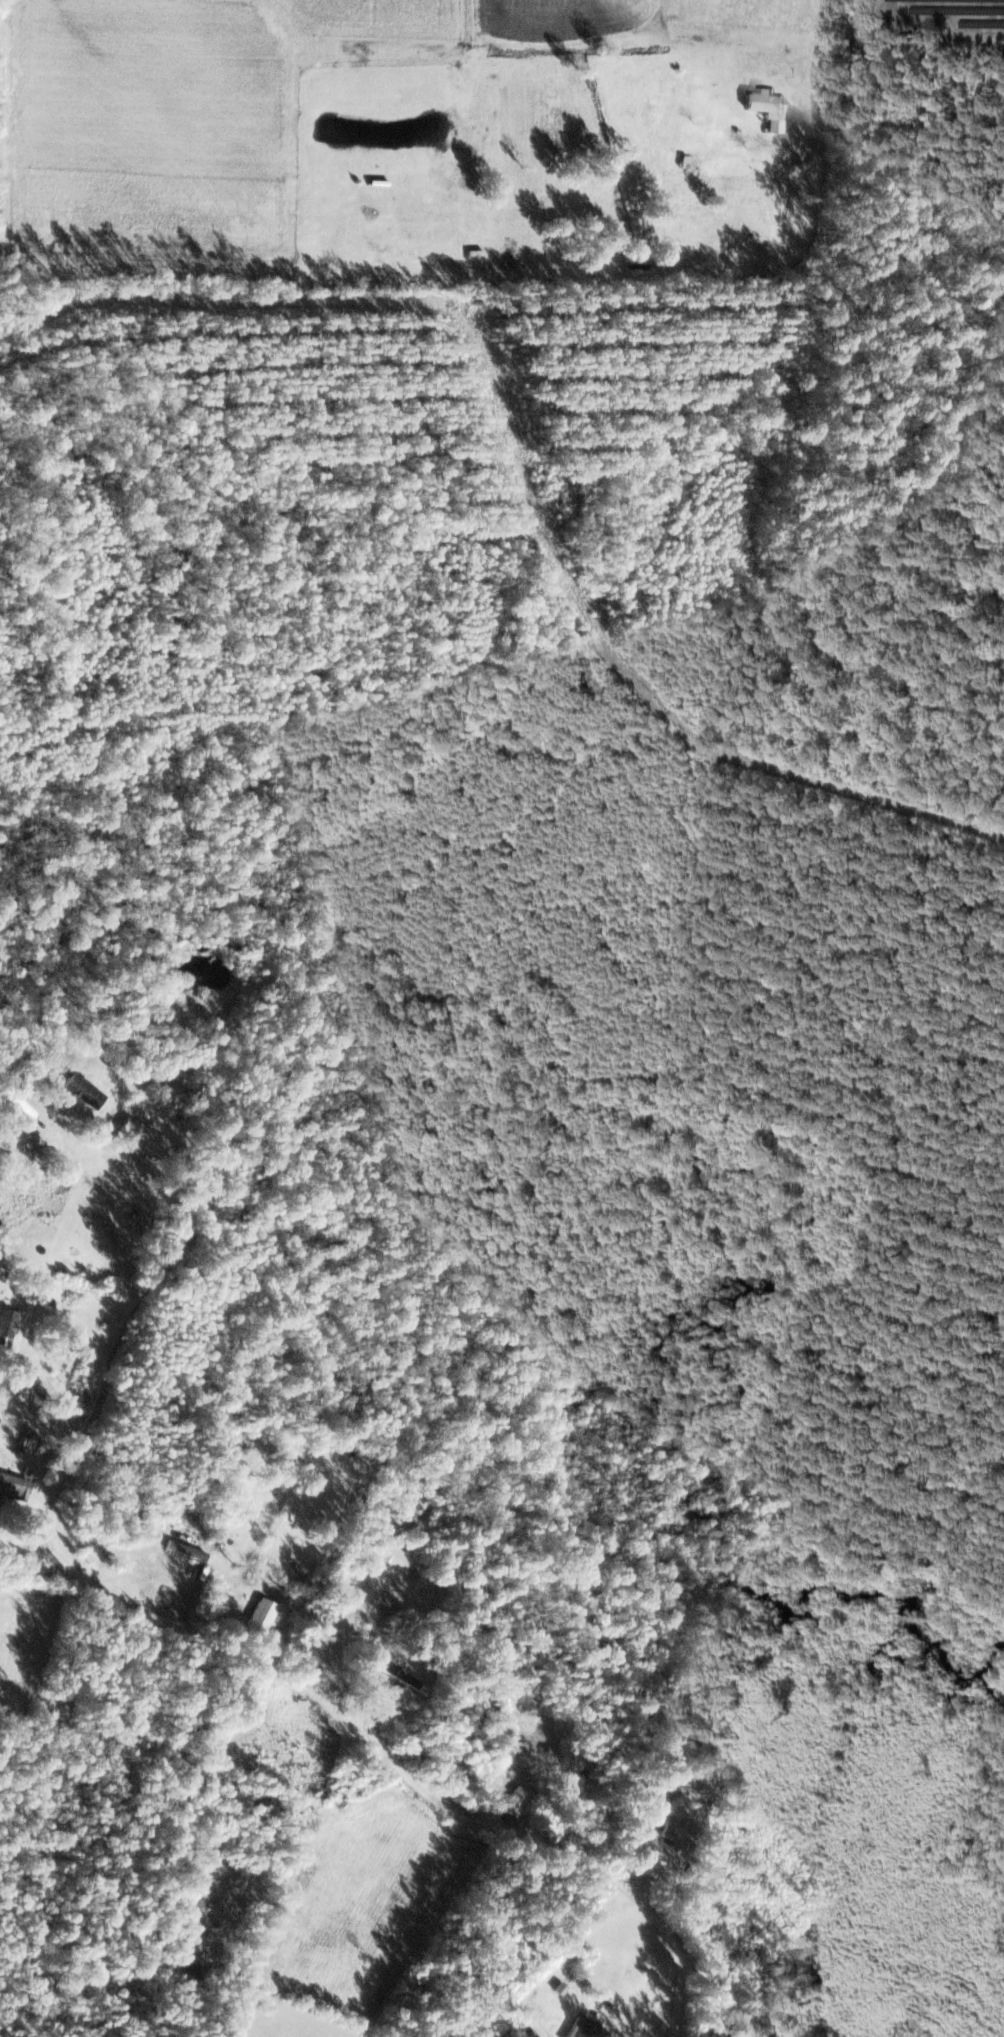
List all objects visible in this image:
building: (765, 101)
building: (695, 166)
building: (83, 1092)
building: (143, 1136)
building: (7, 1326)
building: (8, 1430)
road: (77, 1468)
building: (14, 1488)
road: (52, 1492)
building: (179, 1548)
building: (395, 1558)
building: (263, 1616)
road: (385, 1744)
building: (517, 1802)
building: (586, 2029)

